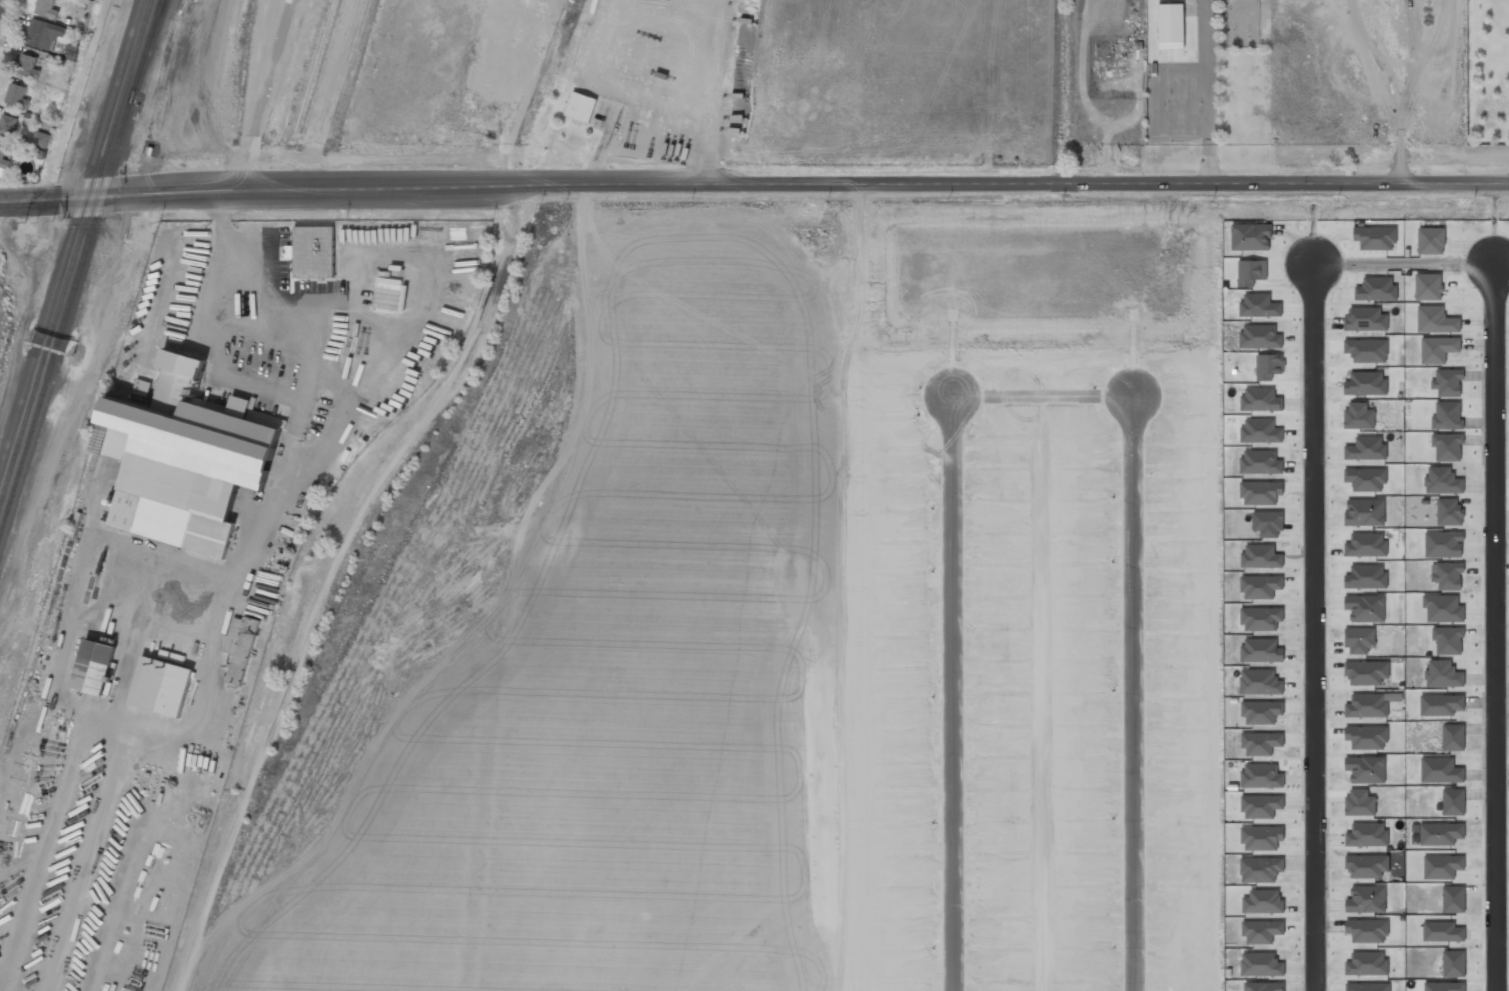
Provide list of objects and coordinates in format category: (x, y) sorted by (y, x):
road: (0, 2)
building: (46, 8)
building: (1171, 26)
building: (42, 33)
railway: (154, 40)
building: (27, 65)
railway: (337, 70)
railway: (312, 71)
railway: (321, 72)
railway: (349, 72)
building: (17, 95)
road: (75, 100)
building: (580, 107)
building: (7, 124)
building: (39, 138)
building: (3, 156)
road: (800, 185)
road: (46, 199)
railway: (71, 237)
building: (1251, 237)
building: (1431, 240)
building: (314, 252)
railway: (76, 253)
road: (1404, 261)
railway: (81, 269)
building: (1428, 286)
building: (1365, 319)
building: (1436, 320)
building: (1438, 349)
building: (1367, 350)
building: (181, 363)
building: (1447, 382)
building: (1365, 383)
building: (1359, 416)
building: (1447, 416)
building: (1447, 446)
building: (186, 465)
building: (1442, 481)
building: (1261, 493)
building: (1365, 512)
building: (1449, 512)
building: (1267, 523)
building: (1443, 544)
building: (1447, 575)
road: (331, 579)
building: (1443, 608)
building: (1261, 618)
road: (1315, 626)
road: (1493, 626)
building: (1359, 637)
building: (1448, 640)
building: (240, 647)
building: (1261, 650)
building: (95, 667)
building: (1367, 672)
building: (1442, 674)
building: (160, 686)
road: (1128, 691)
road: (952, 696)
building: (1366, 705)
building: (1441, 705)
building: (1453, 737)
building: (1440, 770)
building: (1453, 801)
building: (1360, 803)
building: (1440, 833)
building: (1367, 834)
building: (1367, 865)
building: (1442, 866)
building: (1260, 869)
building: (1366, 899)
building: (1453, 899)
building: (1263, 901)
building: (1367, 930)
building: (1442, 931)
building: (1453, 963)
building: (1366, 964)
building: (1261, 965)
building: (1263, 986)
building: (1445, 986)
building: (1367, 987)

